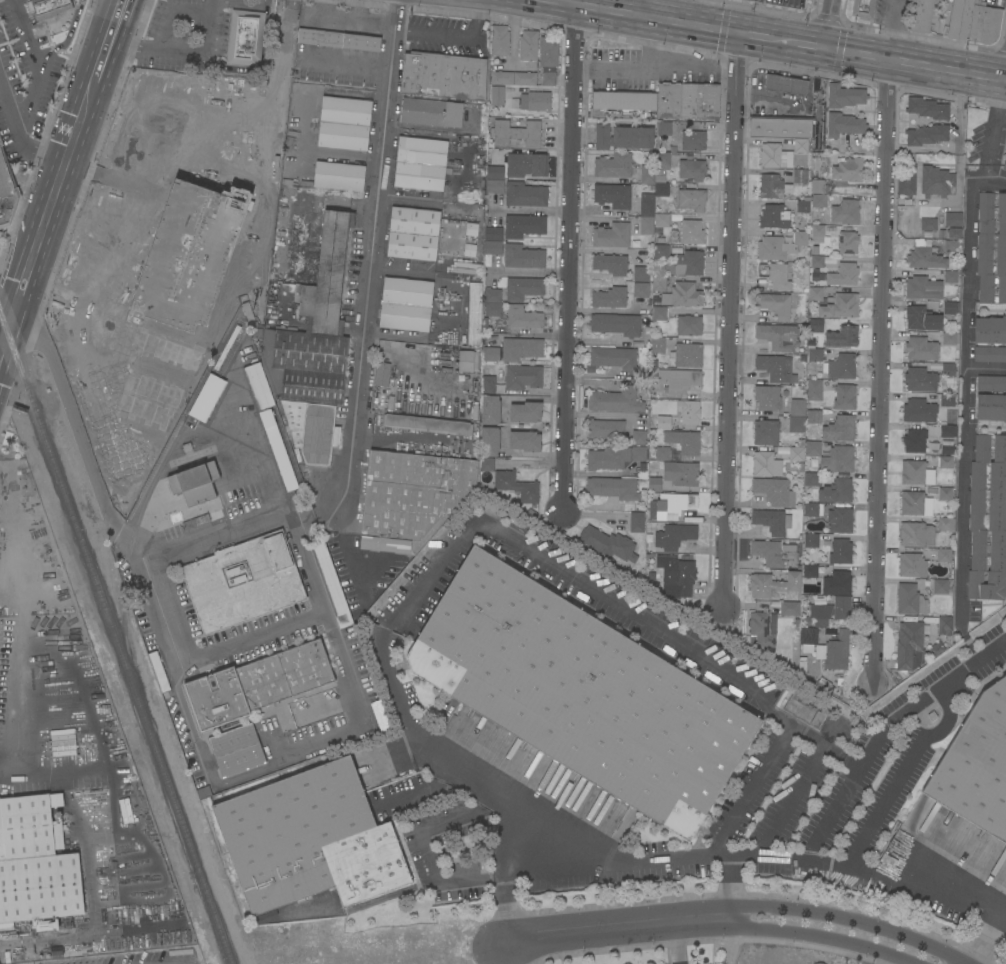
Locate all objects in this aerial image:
road: (643, 1)
road: (244, 3)
road: (664, 6)
building: (48, 7)
building: (862, 8)
road: (477, 9)
road: (359, 12)
building: (921, 15)
building: (959, 19)
road: (346, 23)
road: (720, 23)
road: (828, 23)
building: (984, 24)
road: (633, 25)
road: (398, 30)
traffic signals: (738, 32)
road: (752, 34)
road: (446, 35)
road: (66, 37)
building: (245, 37)
road: (106, 39)
building: (338, 39)
road: (781, 39)
building: (499, 40)
road: (808, 44)
building: (528, 45)
road: (826, 47)
road: (901, 48)
road: (284, 49)
road: (179, 55)
building: (548, 60)
road: (36, 64)
road: (261, 69)
road: (348, 69)
road: (634, 72)
road: (897, 72)
road: (984, 75)
building: (444, 76)
building: (502, 78)
building: (524, 78)
road: (1003, 78)
building: (785, 84)
building: (502, 96)
building: (844, 96)
road: (771, 98)
building: (535, 101)
building: (688, 101)
building: (623, 105)
building: (927, 108)
building: (431, 112)
building: (344, 123)
building: (843, 124)
building: (780, 126)
building: (664, 128)
road: (993, 128)
building: (514, 132)
building: (927, 134)
road: (17, 136)
building: (602, 136)
building: (632, 137)
building: (693, 140)
building: (800, 144)
building: (1005, 151)
building: (775, 156)
building: (662, 160)
building: (420, 163)
building: (1004, 164)
building: (613, 165)
building: (519, 166)
building: (692, 169)
building: (848, 170)
building: (647, 174)
building: (800, 175)
building: (338, 176)
road: (988, 178)
building: (907, 181)
building: (936, 181)
building: (494, 185)
building: (817, 185)
building: (770, 186)
building: (660, 189)
building: (7, 192)
building: (181, 193)
building: (525, 194)
building: (613, 195)
building: (691, 199)
building: (819, 200)
road: (47, 205)
building: (802, 206)
building: (845, 212)
building: (646, 213)
building: (774, 216)
building: (953, 219)
building: (928, 223)
building: (662, 224)
building: (523, 225)
building: (471, 229)
building: (494, 232)
building: (691, 232)
building: (954, 232)
building: (413, 233)
building: (817, 233)
building: (611, 235)
building: (848, 242)
building: (780, 245)
building: (952, 245)
building: (494, 248)
building: (992, 248)
building: (470, 249)
road: (370, 252)
building: (660, 253)
building: (523, 256)
building: (925, 256)
building: (816, 261)
road: (568, 264)
building: (610, 264)
building: (685, 264)
building: (640, 273)
building: (847, 273)
building: (774, 274)
building: (950, 276)
road: (48, 282)
building: (658, 283)
road: (78, 287)
building: (523, 288)
building: (923, 288)
building: (640, 289)
building: (492, 294)
building: (682, 295)
building: (609, 297)
building: (834, 303)
building: (406, 304)
building: (775, 305)
building: (950, 307)
building: (493, 309)
building: (474, 313)
building: (659, 313)
building: (522, 317)
building: (922, 318)
road: (731, 319)
building: (313, 321)
building: (615, 324)
building: (688, 325)
building: (814, 325)
road: (108, 326)
building: (990, 330)
building: (840, 334)
road: (3, 336)
building: (778, 337)
building: (949, 338)
building: (657, 345)
building: (520, 348)
building: (921, 348)
building: (491, 353)
building: (815, 354)
building: (990, 354)
building: (686, 355)
road: (140, 356)
road: (3, 358)
building: (614, 358)
building: (465, 361)
building: (840, 366)
building: (774, 367)
building: (949, 369)
road: (985, 371)
building: (382, 373)
building: (522, 376)
road: (878, 378)
building: (920, 379)
building: (678, 380)
building: (991, 383)
building: (257, 385)
building: (487, 385)
building: (814, 389)
building: (844, 396)
building: (205, 397)
building: (767, 397)
building: (615, 400)
building: (947, 400)
road: (964, 401)
building: (797, 407)
building: (991, 407)
building: (490, 409)
building: (919, 410)
building: (688, 411)
building: (525, 412)
building: (813, 416)
building: (266, 422)
building: (663, 423)
building: (427, 424)
building: (796, 424)
building: (839, 429)
building: (312, 430)
building: (606, 430)
building: (946, 431)
building: (765, 432)
building: (639, 437)
building: (489, 441)
building: (524, 441)
building: (683, 441)
building: (914, 441)
building: (946, 447)
building: (812, 448)
road: (260, 449)
building: (662, 453)
building: (796, 454)
building: (615, 457)
road: (128, 458)
building: (838, 459)
building: (945, 462)
building: (486, 464)
building: (766, 464)
building: (912, 472)
building: (680, 473)
building: (812, 479)
building: (654, 481)
building: (195, 483)
road: (102, 485)
building: (516, 486)
building: (612, 488)
building: (774, 491)
building: (837, 491)
building: (945, 493)
building: (409, 497)
building: (911, 503)
building: (671, 505)
road: (309, 509)
building: (810, 509)
building: (988, 519)
building: (840, 520)
building: (195, 521)
building: (772, 521)
building: (636, 522)
building: (946, 524)
building: (916, 534)
building: (674, 536)
road: (209, 539)
building: (810, 540)
road: (343, 541)
building: (608, 543)
building: (840, 551)
building: (773, 553)
building: (944, 554)
road: (303, 564)
building: (912, 565)
building: (810, 570)
building: (680, 579)
building: (243, 581)
building: (837, 583)
building: (331, 585)
building: (774, 585)
building: (940, 586)
building: (910, 599)
road: (613, 604)
building: (789, 608)
building: (831, 611)
building: (944, 625)
building: (760, 629)
building: (808, 635)
railway: (115, 639)
road: (248, 641)
building: (909, 646)
building: (936, 648)
building: (837, 651)
railway: (110, 654)
building: (158, 671)
building: (256, 684)
building: (581, 692)
road: (14, 706)
road: (824, 741)
building: (61, 742)
building: (236, 750)
road: (5, 756)
road: (285, 758)
road: (858, 763)
building: (976, 765)
road: (18, 774)
road: (424, 788)
road: (792, 798)
road: (544, 833)
building: (309, 839)
building: (35, 864)
road: (605, 864)
road: (958, 881)
road: (732, 891)
road: (801, 908)
road: (775, 928)
road: (561, 931)
road: (986, 935)
road: (678, 947)
road: (503, 954)
road: (968, 963)
road: (970, 963)

